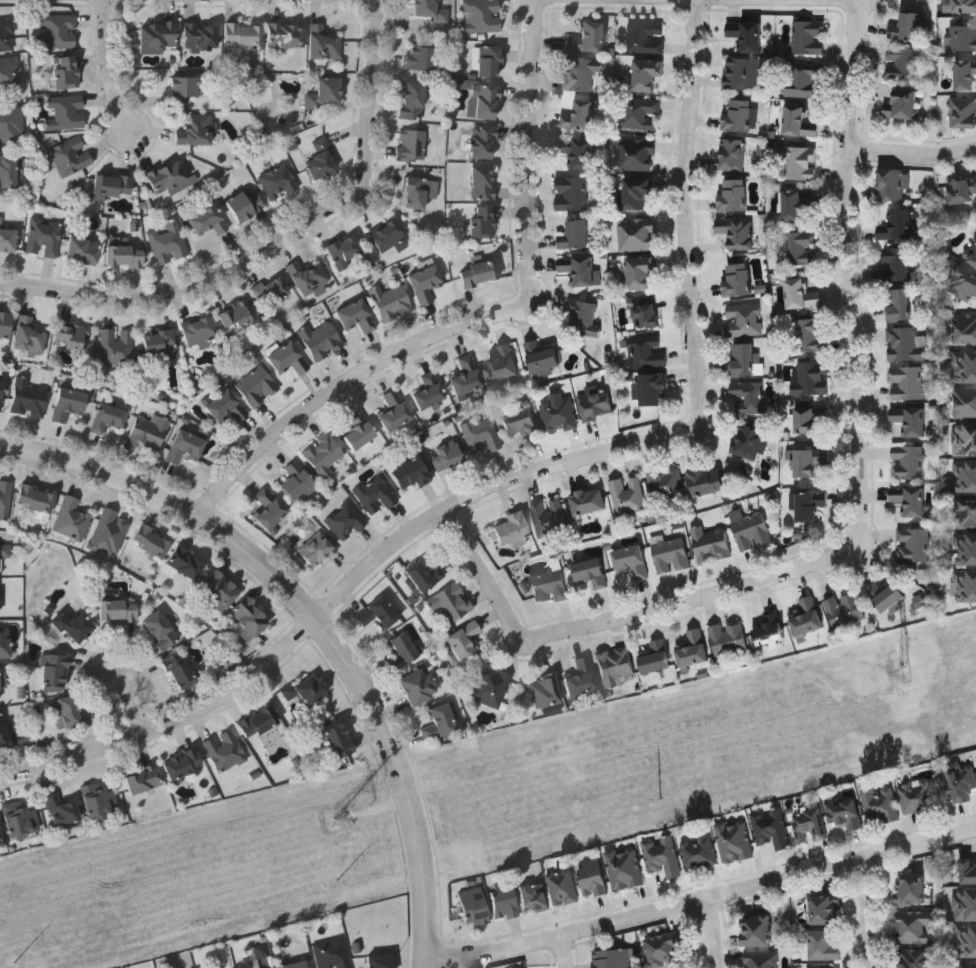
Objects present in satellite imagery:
building: (960, 5)
building: (430, 10)
building: (482, 16)
building: (908, 25)
building: (58, 32)
building: (244, 33)
building: (747, 33)
building: (287, 34)
building: (7, 35)
building: (201, 35)
building: (159, 36)
building: (647, 36)
building: (809, 36)
building: (962, 36)
building: (586, 37)
building: (323, 42)
building: (419, 57)
building: (490, 60)
building: (902, 62)
road: (114, 69)
building: (581, 71)
building: (67, 72)
building: (646, 72)
building: (743, 72)
building: (966, 72)
building: (7, 74)
building: (804, 78)
building: (185, 91)
building: (325, 92)
road: (373, 93)
building: (413, 99)
building: (485, 101)
building: (904, 103)
building: (66, 111)
building: (639, 111)
building: (963, 112)
building: (579, 114)
building: (738, 114)
building: (11, 121)
building: (799, 121)
building: (197, 131)
building: (482, 141)
building: (412, 145)
building: (579, 150)
building: (637, 153)
building: (733, 153)
road: (914, 153)
building: (70, 156)
building: (322, 159)
building: (799, 161)
building: (10, 172)
building: (170, 177)
building: (279, 181)
building: (483, 183)
building: (890, 184)
building: (114, 185)
building: (962, 189)
building: (420, 191)
building: (637, 191)
building: (571, 192)
building: (734, 194)
building: (796, 202)
building: (245, 204)
building: (208, 220)
building: (484, 221)
building: (898, 224)
building: (737, 230)
building: (575, 233)
building: (636, 233)
building: (389, 236)
building: (7, 237)
building: (45, 237)
building: (168, 243)
building: (800, 247)
building: (344, 248)
building: (83, 249)
building: (971, 252)
building: (125, 254)
building: (898, 263)
building: (580, 269)
building: (641, 272)
road: (852, 272)
building: (479, 273)
building: (308, 275)
building: (738, 278)
building: (425, 282)
building: (963, 282)
road: (195, 288)
building: (271, 291)
building: (802, 293)
building: (392, 300)
building: (900, 304)
building: (235, 314)
building: (646, 314)
building: (357, 315)
building: (582, 316)
road: (485, 319)
building: (745, 319)
building: (5, 324)
building: (965, 327)
building: (199, 332)
building: (811, 335)
building: (30, 336)
building: (74, 336)
building: (322, 340)
building: (906, 343)
building: (161, 344)
building: (116, 346)
building: (647, 351)
building: (542, 356)
building: (288, 357)
building: (747, 358)
building: (505, 361)
building: (966, 365)
building: (467, 376)
building: (810, 377)
building: (906, 381)
building: (258, 385)
building: (649, 386)
building: (429, 390)
building: (1, 393)
building: (748, 396)
building: (29, 398)
building: (965, 401)
building: (69, 403)
building: (596, 403)
building: (227, 406)
building: (394, 411)
building: (560, 412)
building: (810, 416)
building: (108, 417)
building: (911, 418)
building: (521, 421)
building: (360, 430)
building: (148, 431)
building: (482, 435)
building: (965, 438)
building: (751, 441)
building: (185, 446)
building: (324, 453)
building: (446, 455)
building: (909, 459)
building: (809, 460)
building: (412, 472)
building: (964, 474)
road: (521, 475)
building: (706, 479)
building: (296, 480)
building: (666, 482)
building: (376, 494)
building: (628, 494)
building: (5, 497)
building: (36, 498)
building: (911, 498)
building: (589, 500)
building: (810, 504)
building: (270, 507)
building: (967, 511)
building: (548, 514)
building: (72, 518)
building: (346, 520)
building: (512, 529)
building: (752, 530)
building: (110, 531)
building: (152, 541)
building: (711, 543)
building: (914, 543)
building: (966, 548)
building: (317, 549)
building: (670, 553)
building: (4, 554)
building: (632, 559)
building: (186, 563)
building: (591, 571)
building: (424, 575)
building: (965, 584)
building: (549, 585)
building: (219, 590)
building: (888, 596)
building: (450, 604)
building: (845, 609)
building: (118, 610)
building: (378, 612)
road: (623, 615)
building: (807, 616)
building: (247, 619)
road: (319, 619)
building: (74, 626)
building: (770, 629)
building: (161, 630)
building: (729, 637)
building: (464, 640)
building: (5, 641)
building: (693, 648)
building: (402, 650)
building: (656, 656)
building: (615, 664)
building: (179, 670)
building: (55, 672)
power tower: (900, 674)
building: (582, 677)
building: (3, 679)
building: (491, 685)
building: (418, 686)
building: (305, 689)
building: (545, 690)
road: (131, 704)
building: (71, 712)
building: (440, 721)
building: (259, 722)
building: (4, 730)
building: (338, 739)
building: (226, 750)
building: (183, 764)
building: (143, 779)
building: (962, 779)
building: (919, 796)
building: (100, 801)
building: (879, 802)
building: (62, 808)
building: (844, 812)
power tower: (332, 817)
building: (21, 819)
building: (809, 825)
building: (771, 827)
building: (0, 837)
building: (734, 840)
building: (698, 852)
building: (662, 856)
building: (624, 868)
building: (968, 870)
building: (593, 877)
building: (562, 887)
building: (911, 888)
building: (534, 897)
road: (704, 897)
building: (504, 902)
building: (965, 904)
building: (473, 906)
building: (825, 910)
road: (869, 912)
building: (915, 926)
building: (757, 929)
road: (716, 932)
building: (967, 940)
building: (823, 944)
building: (663, 948)
road: (564, 952)
building: (332, 954)
building: (613, 958)
building: (915, 958)
building: (761, 959)
building: (380, 961)
building: (296, 964)
building: (247, 965)
building: (968, 966)

